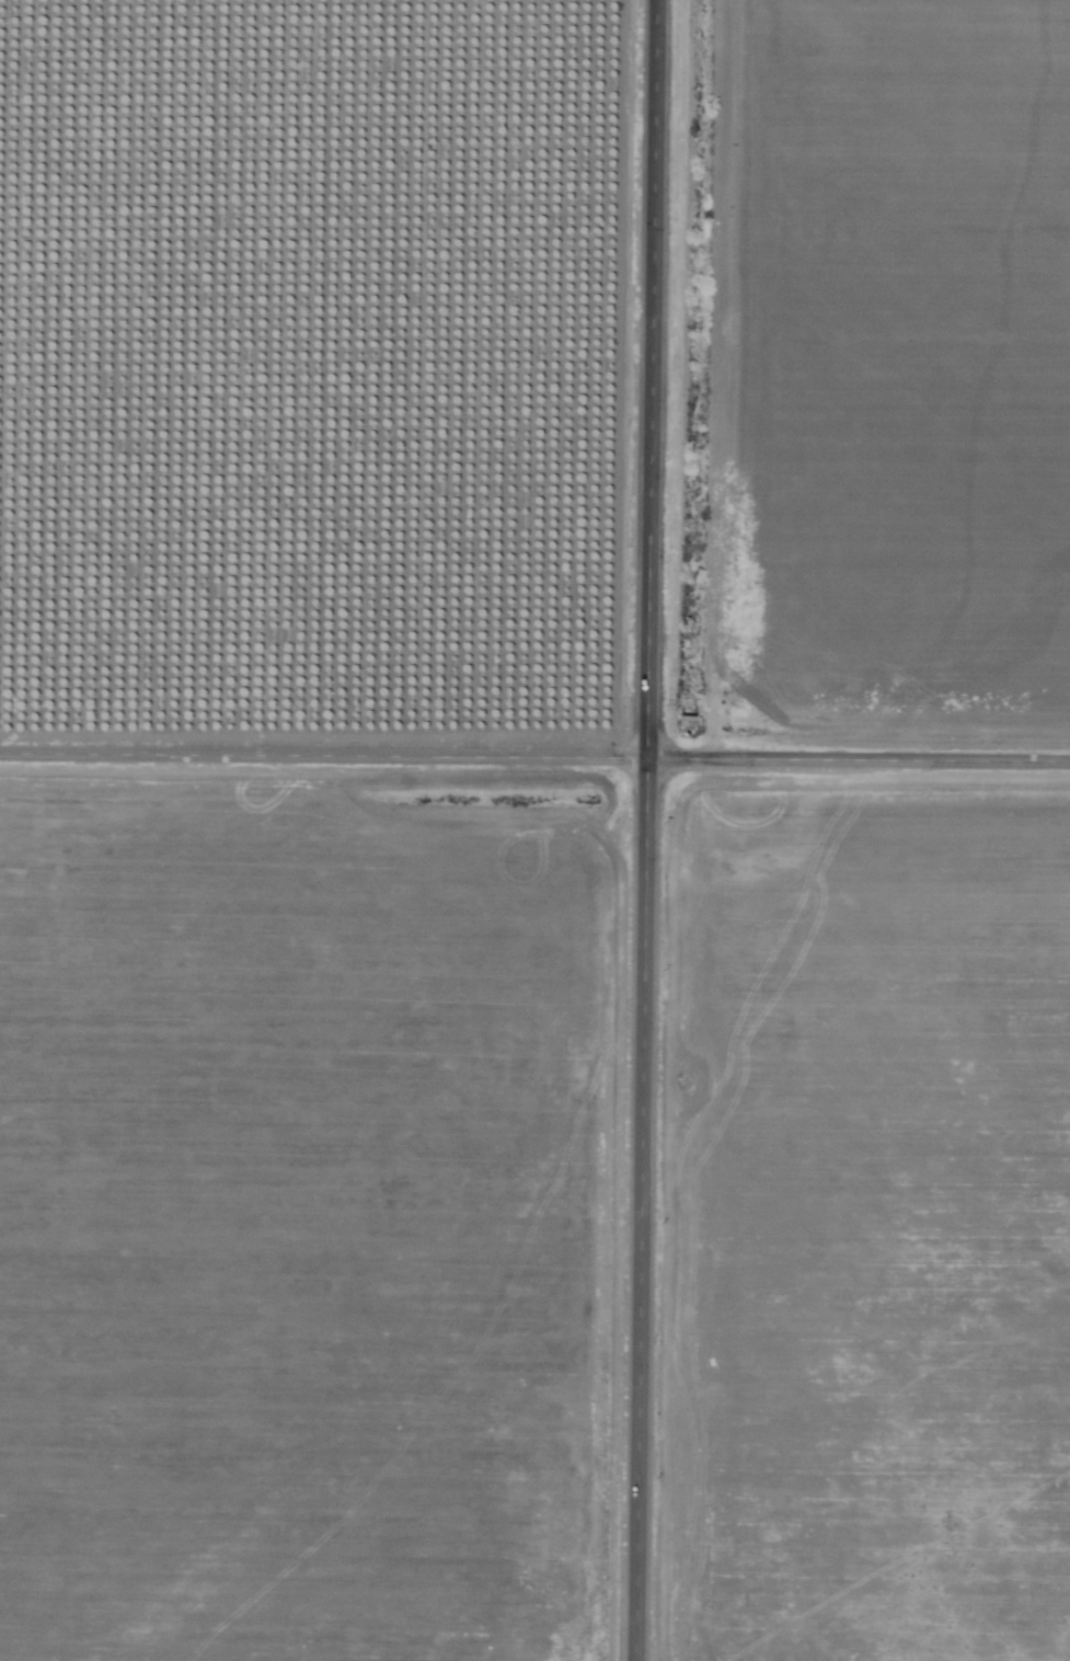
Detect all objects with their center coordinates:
crop: (318, 380)
road: (534, 753)
road: (653, 831)

